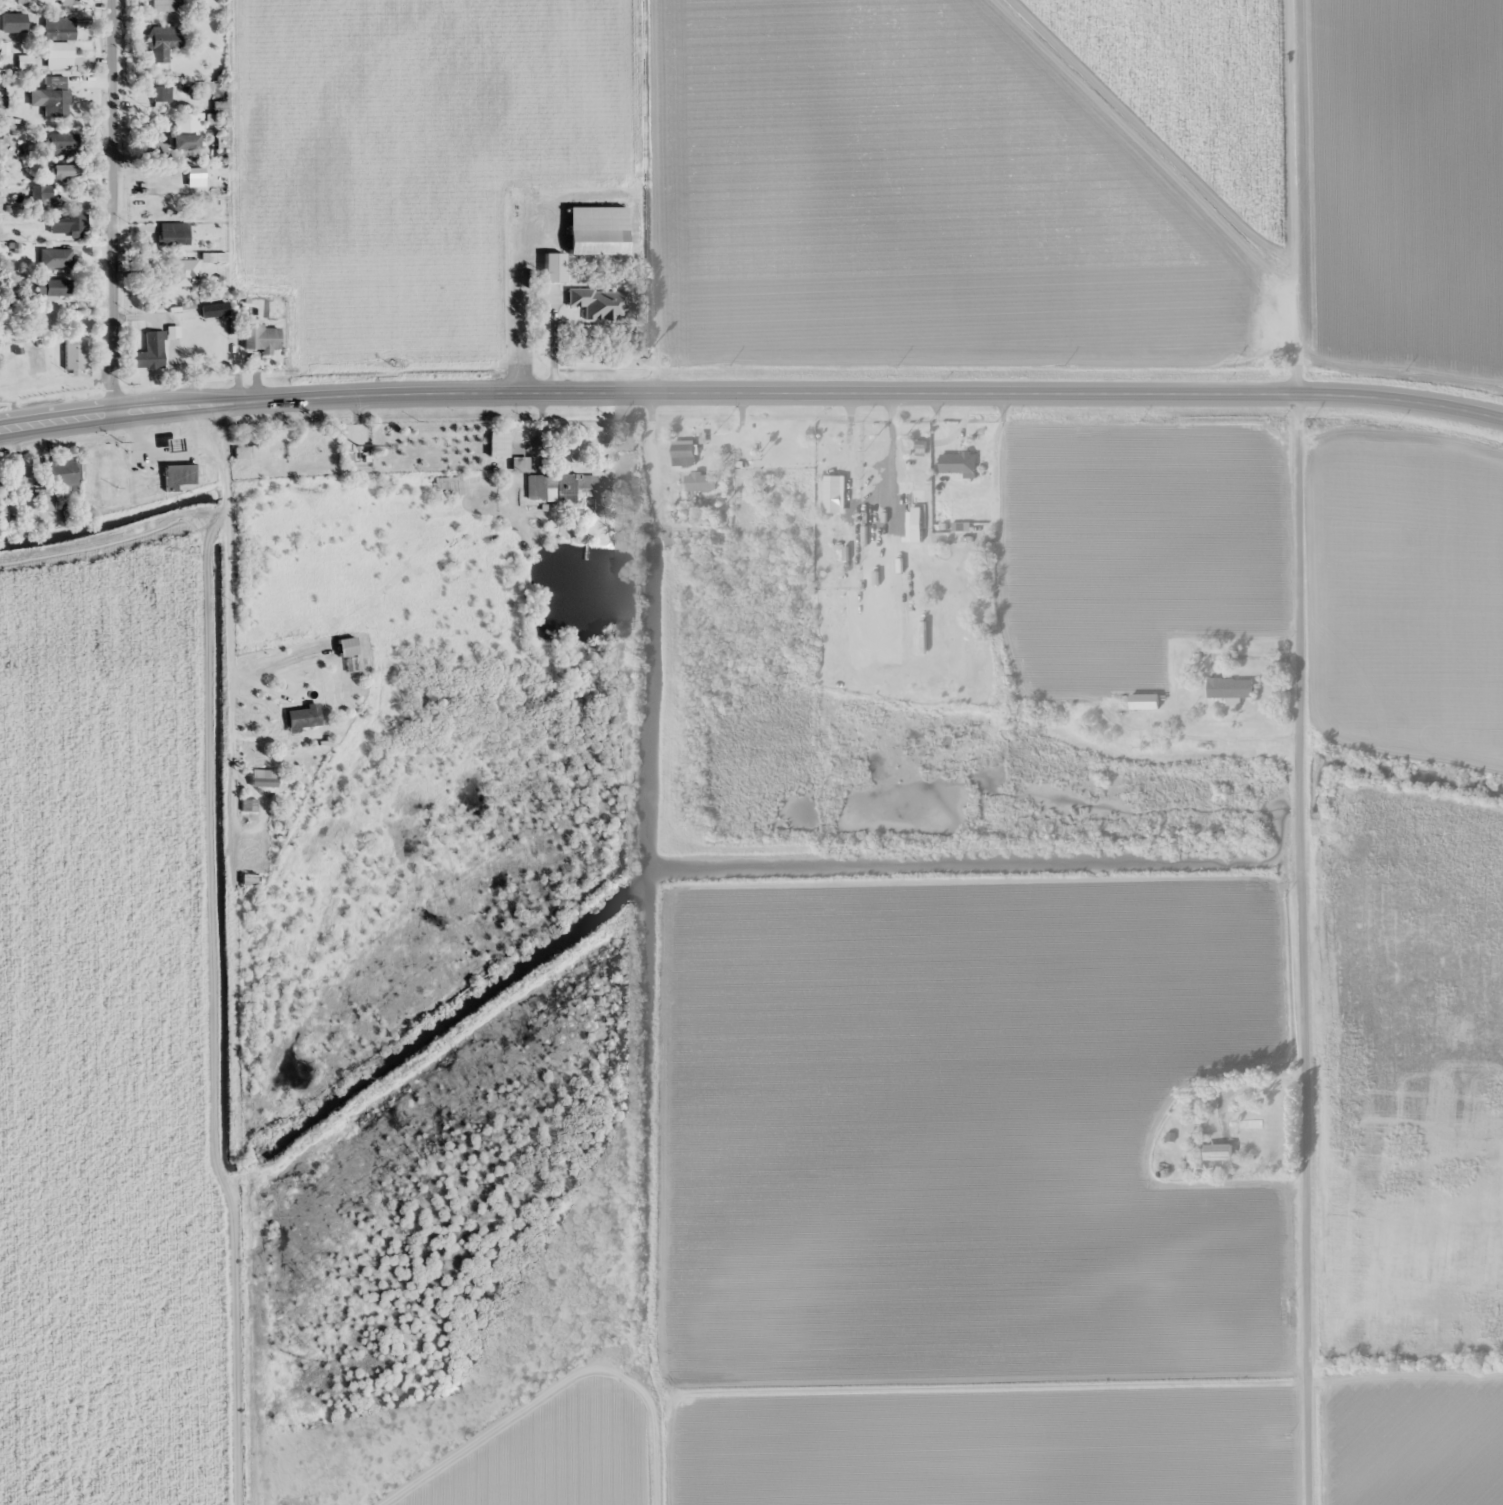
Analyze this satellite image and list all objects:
building: (23, 1)
building: (67, 3)
building: (167, 6)
building: (15, 23)
building: (59, 29)
building: (164, 43)
building: (60, 51)
building: (25, 62)
building: (55, 97)
building: (162, 97)
building: (189, 122)
building: (62, 142)
building: (185, 142)
building: (67, 173)
building: (196, 177)
building: (52, 201)
road: (114, 205)
building: (68, 224)
building: (597, 231)
building: (174, 234)
building: (561, 254)
building: (185, 272)
building: (555, 279)
building: (54, 288)
building: (599, 304)
building: (262, 338)
building: (151, 353)
building: (75, 355)
road: (751, 395)
building: (172, 445)
building: (498, 445)
building: (250, 452)
building: (683, 454)
building: (956, 464)
building: (520, 465)
building: (64, 473)
building: (178, 477)
building: (699, 483)
building: (873, 486)
building: (449, 487)
building: (560, 488)
building: (357, 667)
building: (1229, 689)
building: (1144, 703)
building: (305, 720)
road: (1296, 752)
building: (264, 779)
building: (250, 806)
building: (248, 879)
building: (1249, 1133)
building: (1218, 1153)

